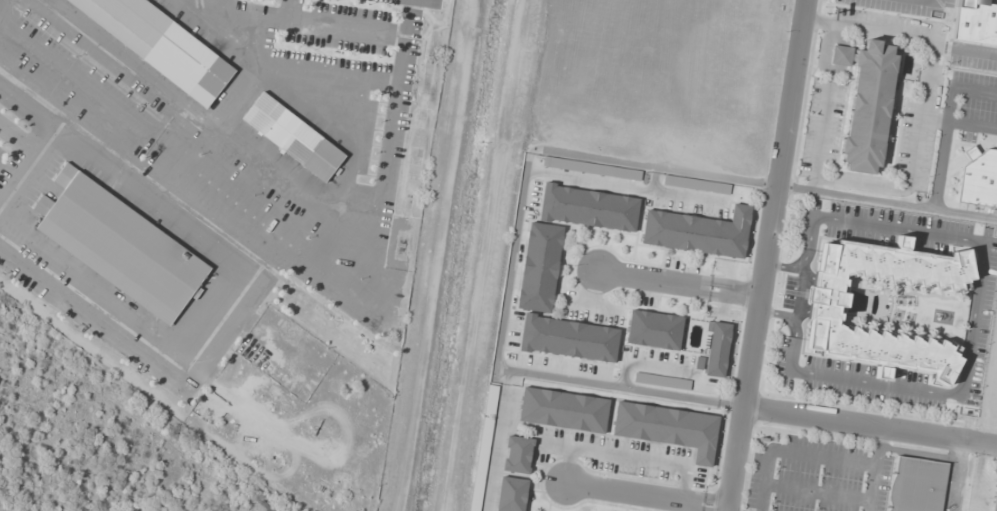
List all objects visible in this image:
road: (1, 2)
road: (227, 12)
road: (244, 15)
building: (975, 22)
road: (348, 26)
building: (159, 45)
road: (241, 45)
road: (332, 71)
building: (868, 107)
road: (35, 114)
building: (294, 137)
road: (24, 153)
road: (3, 176)
building: (979, 178)
building: (696, 184)
road: (885, 201)
building: (589, 208)
building: (698, 232)
building: (121, 246)
road: (288, 253)
road: (762, 255)
building: (540, 267)
road: (678, 279)
road: (799, 292)
building: (827, 308)
road: (974, 320)
building: (654, 329)
building: (718, 349)
building: (564, 409)
road: (869, 423)
building: (668, 428)
building: (518, 454)
building: (481, 464)
building: (917, 485)
building: (513, 494)
road: (645, 495)
building: (995, 499)

